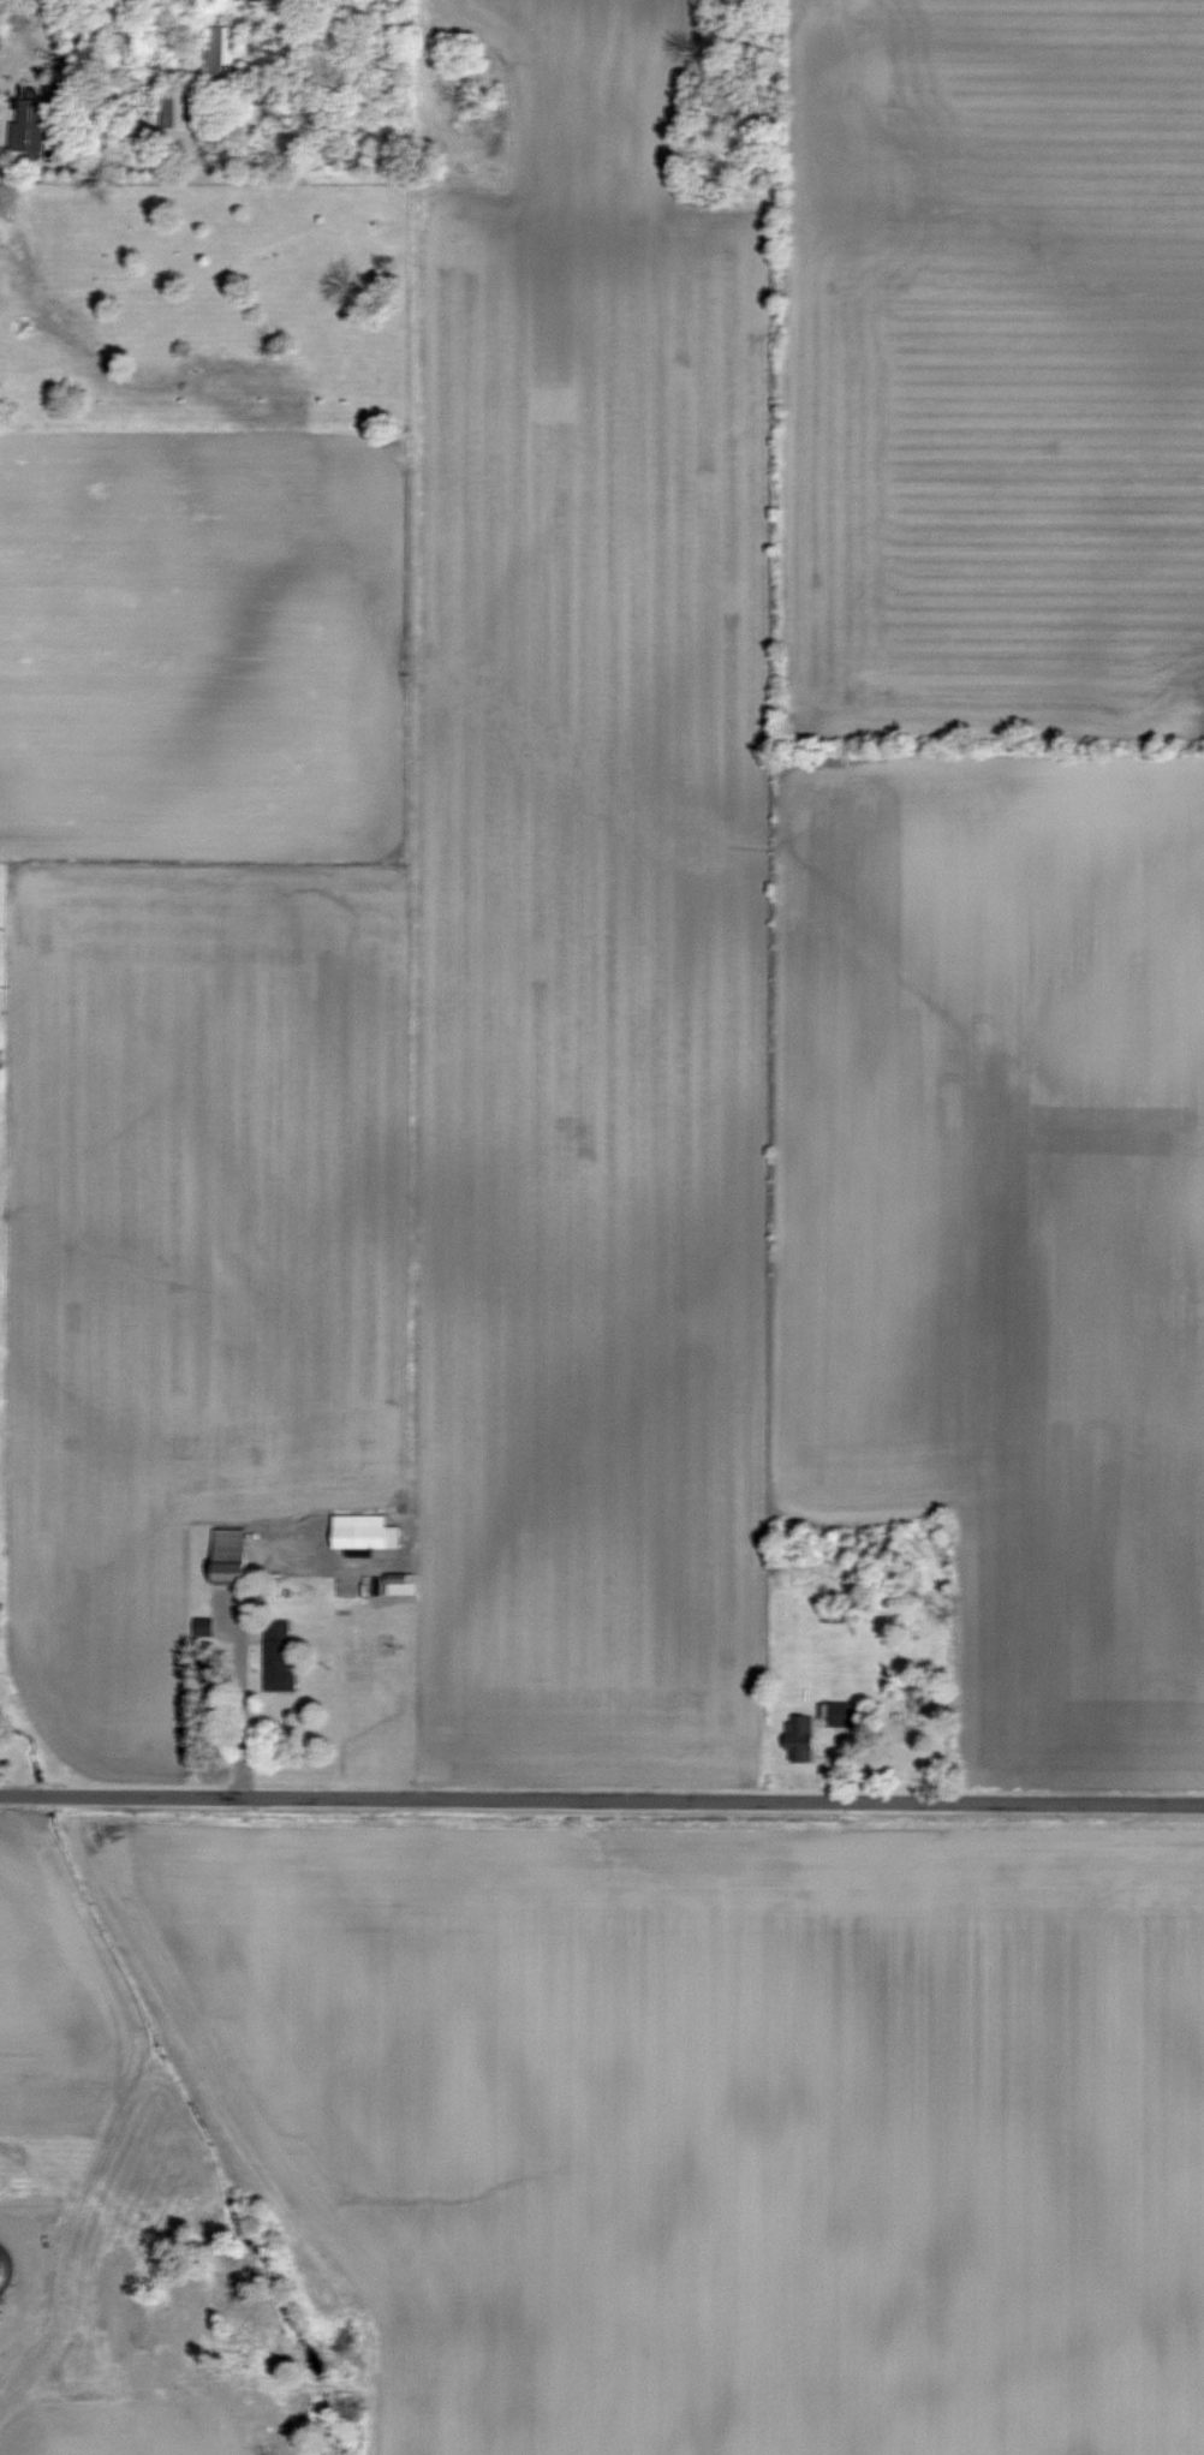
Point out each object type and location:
building: (126, 43)
building: (223, 49)
road: (38, 77)
building: (174, 107)
building: (260, 109)
building: (28, 125)
road: (410, 1039)
building: (362, 1533)
building: (227, 1556)
building: (399, 1584)
road: (240, 1643)
building: (276, 1657)
building: (841, 1715)
building: (798, 1739)
road: (601, 1799)
building: (2, 2264)
silo: (4, 2265)
road: (34, 2275)

